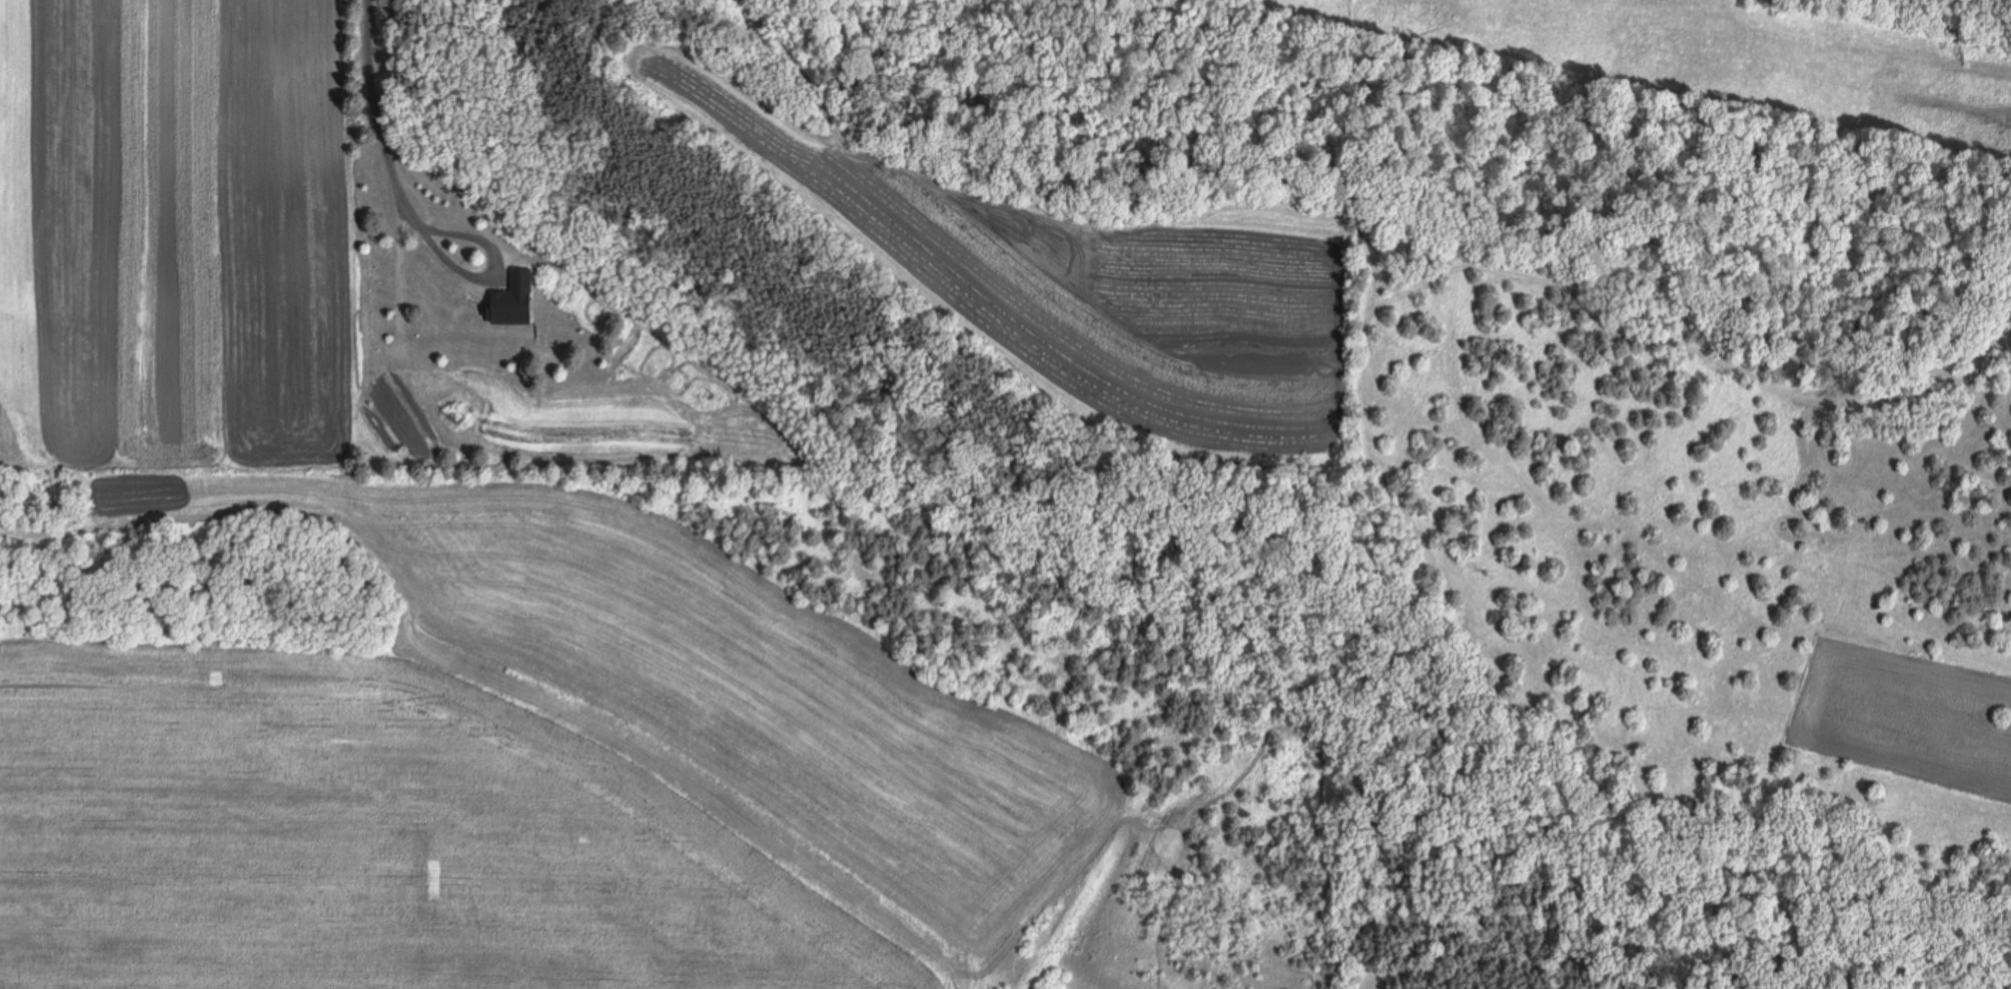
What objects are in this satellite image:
road: (378, 117)
road: (497, 263)
building: (518, 298)

